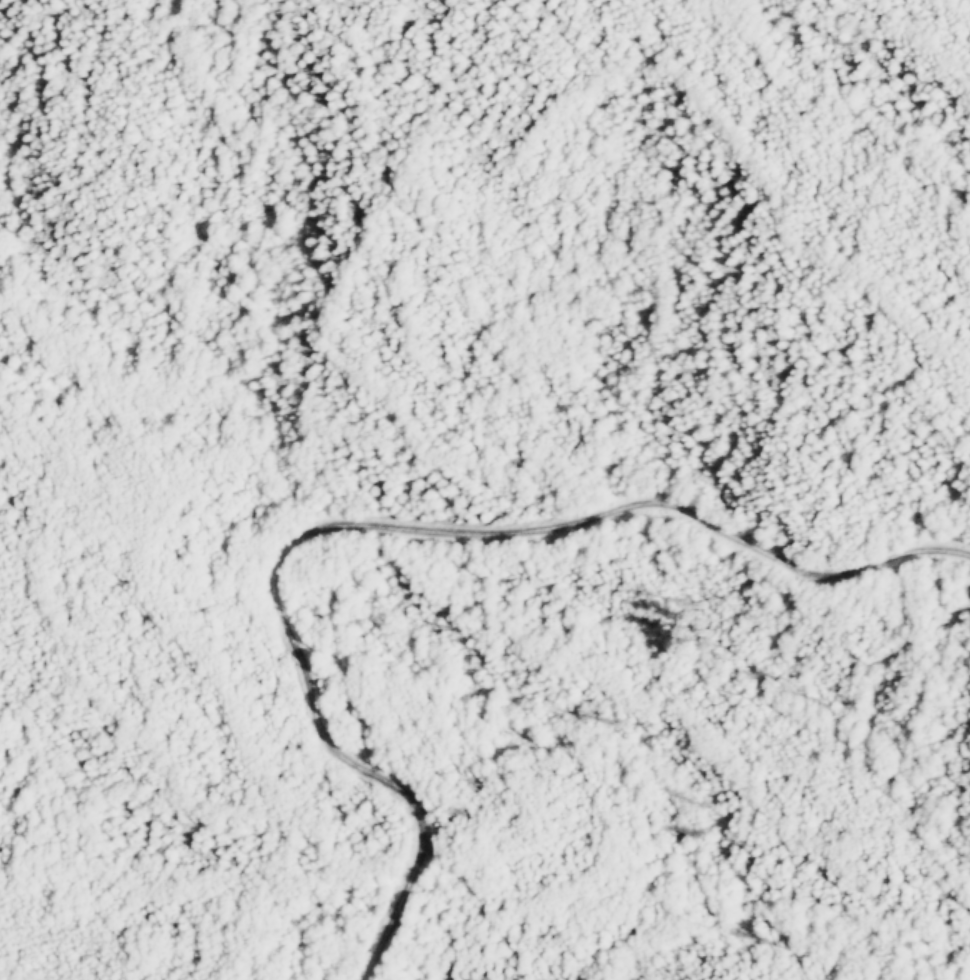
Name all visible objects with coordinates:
road: (938, 41)
road: (416, 567)

